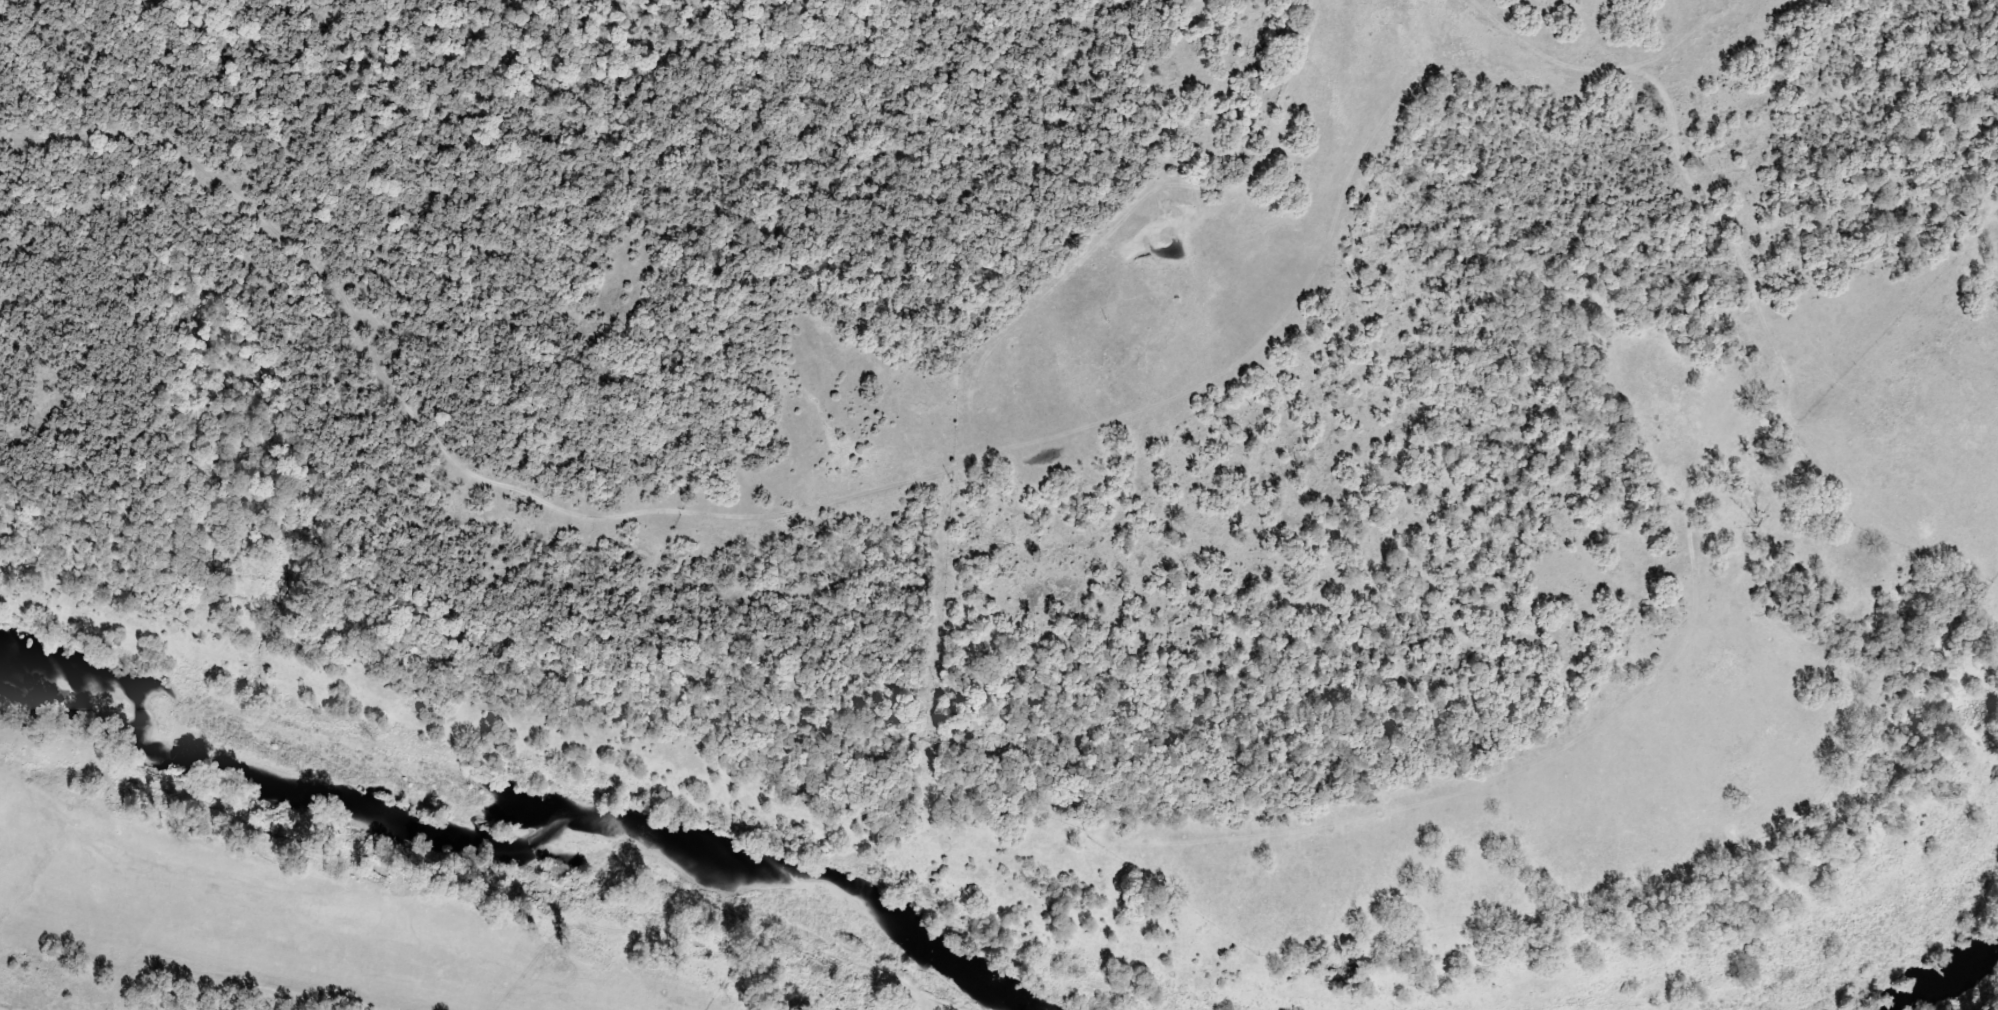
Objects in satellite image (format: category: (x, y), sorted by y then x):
river: (514, 832)
park: (781, 970)
river: (1954, 982)

